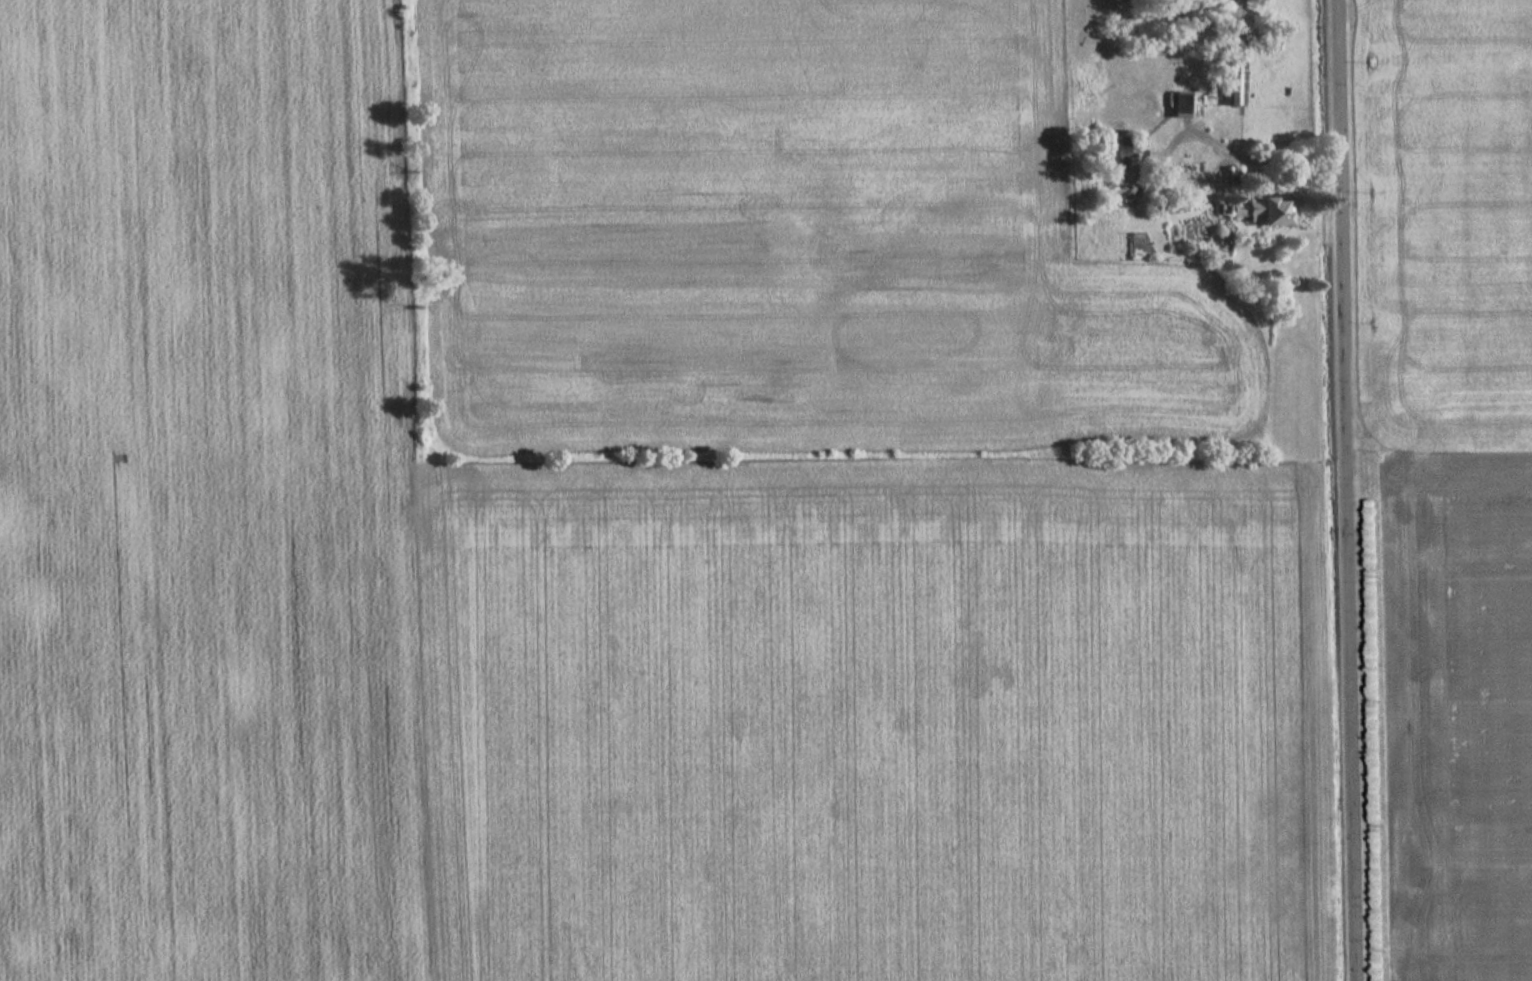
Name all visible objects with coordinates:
building: (1229, 73)
building: (1181, 105)
building: (1259, 210)
crop: (794, 228)
crop: (1449, 483)
road: (1348, 490)
crop: (197, 497)
crop: (843, 722)

